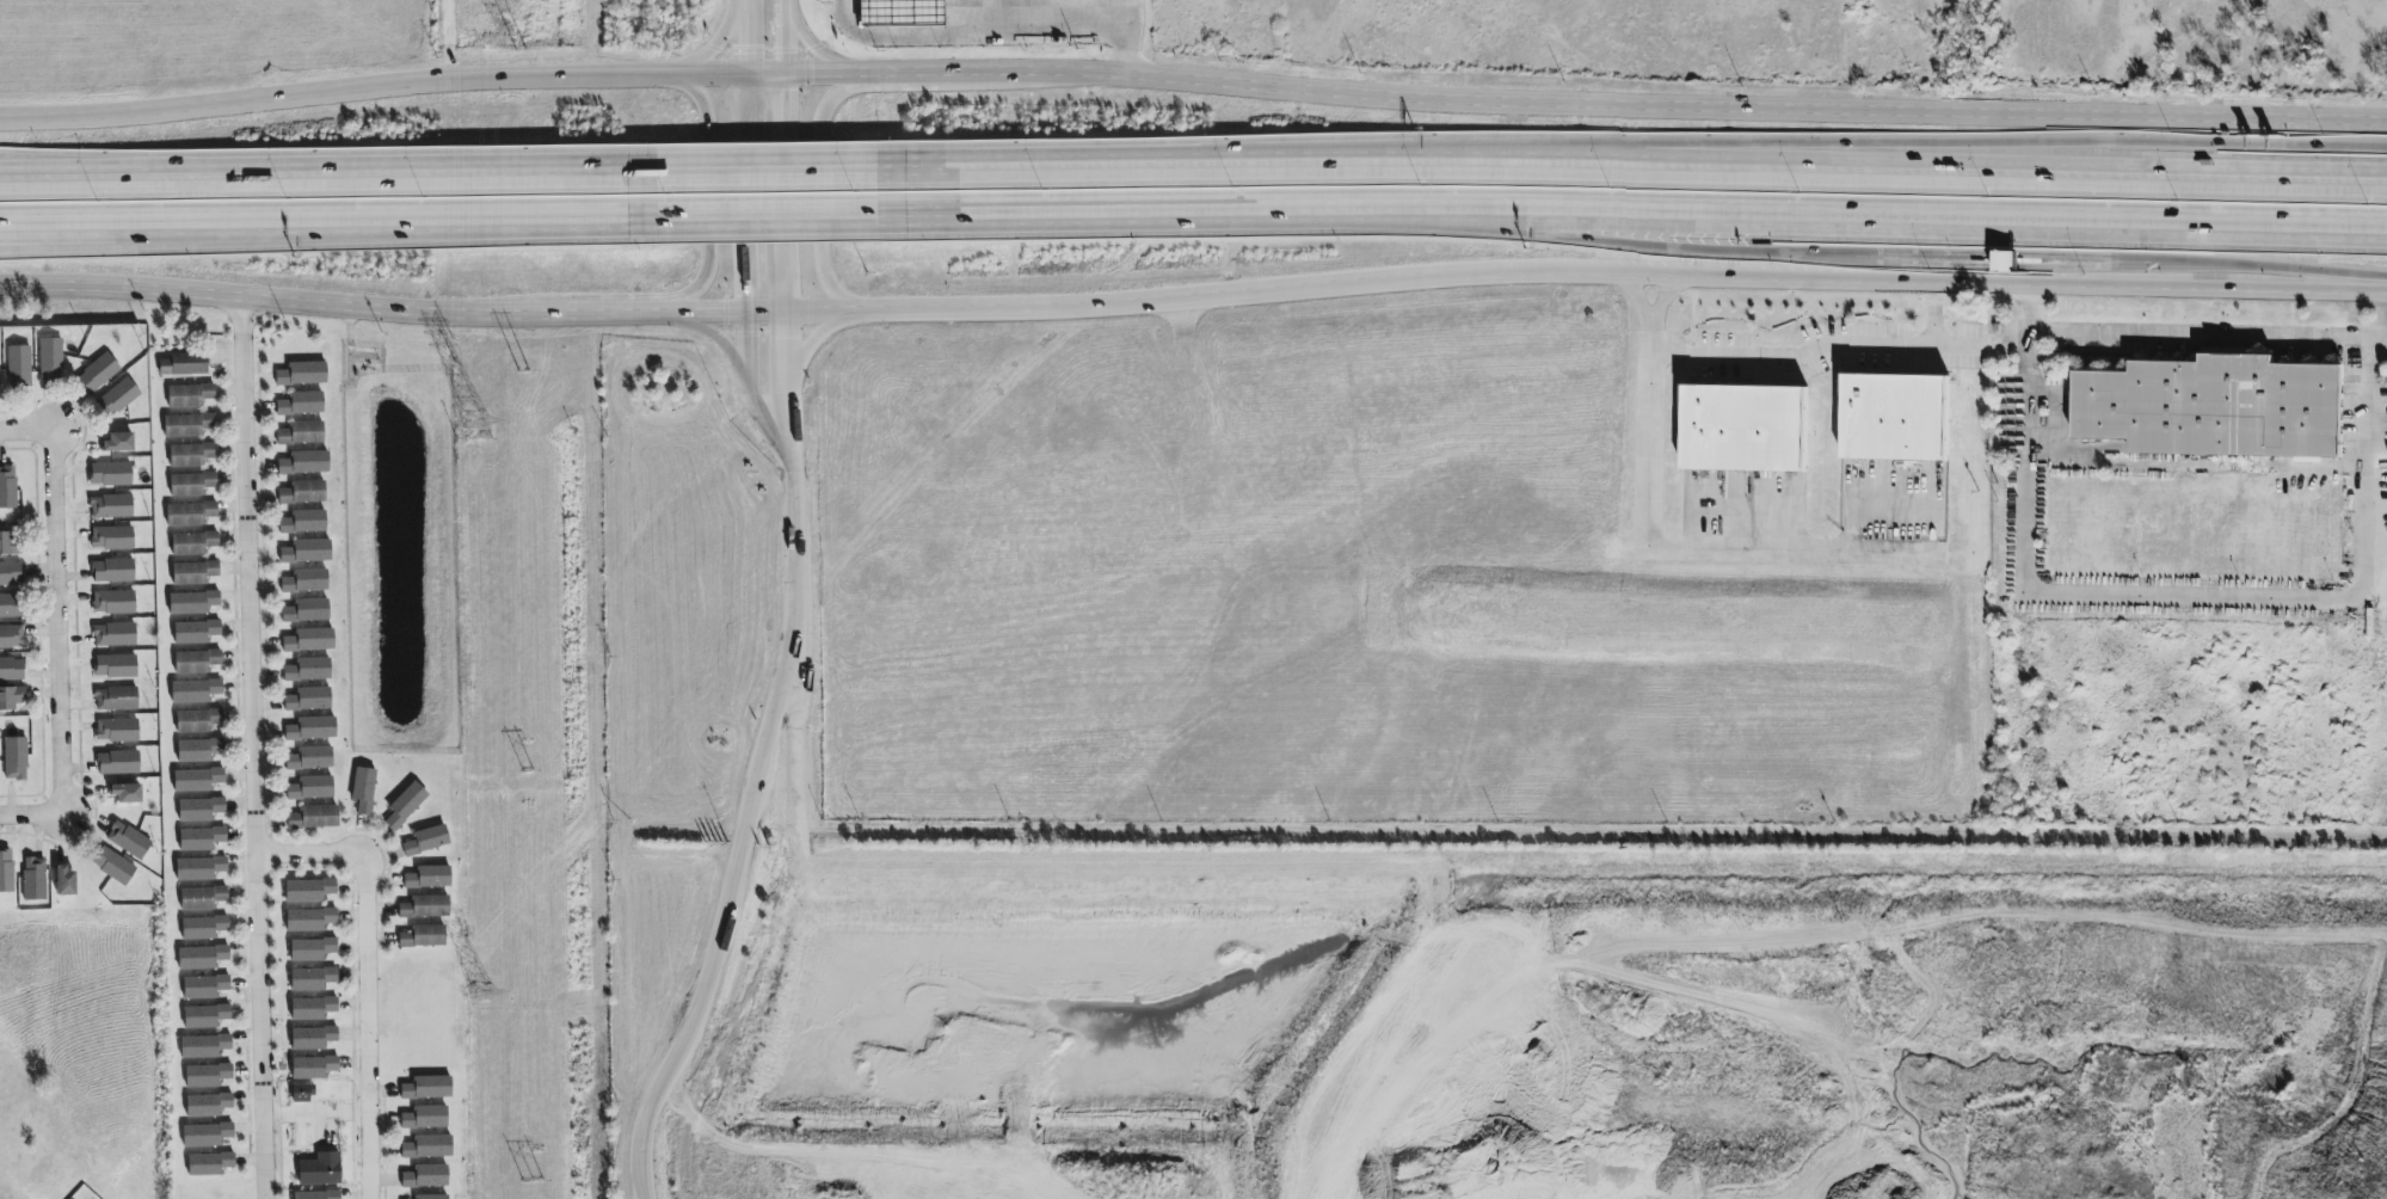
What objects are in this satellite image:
road: (1007, 20)
road: (783, 37)
road: (986, 42)
road: (715, 48)
road: (818, 50)
road: (743, 51)
road: (1192, 86)
road: (1961, 140)
road: (763, 179)
road: (1637, 179)
road: (319, 184)
road: (785, 186)
road: (824, 195)
road: (709, 201)
road: (745, 208)
road: (763, 208)
road: (1194, 209)
road: (1943, 211)
road: (318, 214)
road: (1669, 251)
road: (1927, 258)
road: (2196, 264)
road: (1656, 277)
road: (2092, 289)
road: (1637, 295)
road: (1662, 295)
road: (2031, 308)
road: (757, 313)
road: (2383, 314)
road: (2205, 332)
road: (720, 340)
road: (811, 343)
road: (2030, 346)
road: (1811, 351)
road: (2369, 356)
building: (50, 359)
building: (183, 364)
building: (19, 367)
road: (786, 373)
building: (97, 374)
building: (302, 374)
road: (752, 386)
building: (189, 395)
building: (117, 398)
building: (301, 404)
building: (2214, 407)
building: (1895, 417)
power tower: (470, 423)
building: (187, 425)
building: (1745, 428)
road: (27, 432)
building: (301, 434)
building: (118, 443)
building: (191, 455)
building: (304, 462)
building: (111, 474)
building: (191, 484)
building: (7, 487)
building: (303, 492)
building: (111, 506)
building: (190, 514)
building: (303, 522)
building: (111, 537)
building: (193, 543)
building: (8, 545)
road: (1679, 545)
building: (307, 552)
building: (112, 571)
building: (11, 573)
building: (193, 573)
building: (306, 582)
road: (2188, 595)
building: (113, 602)
building: (192, 603)
building: (11, 605)
building: (306, 610)
road: (59, 623)
building: (195, 632)
building: (113, 634)
building: (11, 637)
building: (309, 640)
building: (196, 662)
building: (116, 666)
building: (12, 669)
building: (308, 670)
building: (195, 691)
building: (11, 697)
building: (116, 699)
building: (308, 699)
building: (198, 720)
building: (310, 728)
building: (117, 730)
road: (251, 749)
building: (198, 750)
building: (16, 758)
building: (310, 758)
building: (118, 763)
building: (197, 780)
building: (310, 788)
building: (363, 791)
building: (127, 793)
building: (405, 805)
building: (199, 810)
road: (31, 814)
building: (314, 817)
road: (745, 828)
building: (201, 838)
building: (128, 840)
building: (426, 841)
building: (112, 866)
building: (199, 868)
building: (6, 872)
building: (427, 878)
building: (33, 879)
building: (66, 881)
building: (308, 890)
building: (202, 898)
building: (424, 906)
building: (309, 920)
building: (203, 928)
building: (423, 936)
building: (310, 949)
building: (202, 957)
road: (361, 974)
building: (312, 978)
building: (204, 986)
power tower: (484, 992)
building: (312, 1008)
building: (205, 1016)
building: (312, 1038)
building: (204, 1046)
landfill: (1870, 1051)
building: (313, 1068)
building: (207, 1075)
building: (426, 1088)
building: (208, 1105)
road: (314, 1112)
building: (425, 1118)
building: (207, 1135)
building: (427, 1148)
building: (209, 1164)
building: (425, 1176)
building: (316, 1195)
building: (431, 1197)

